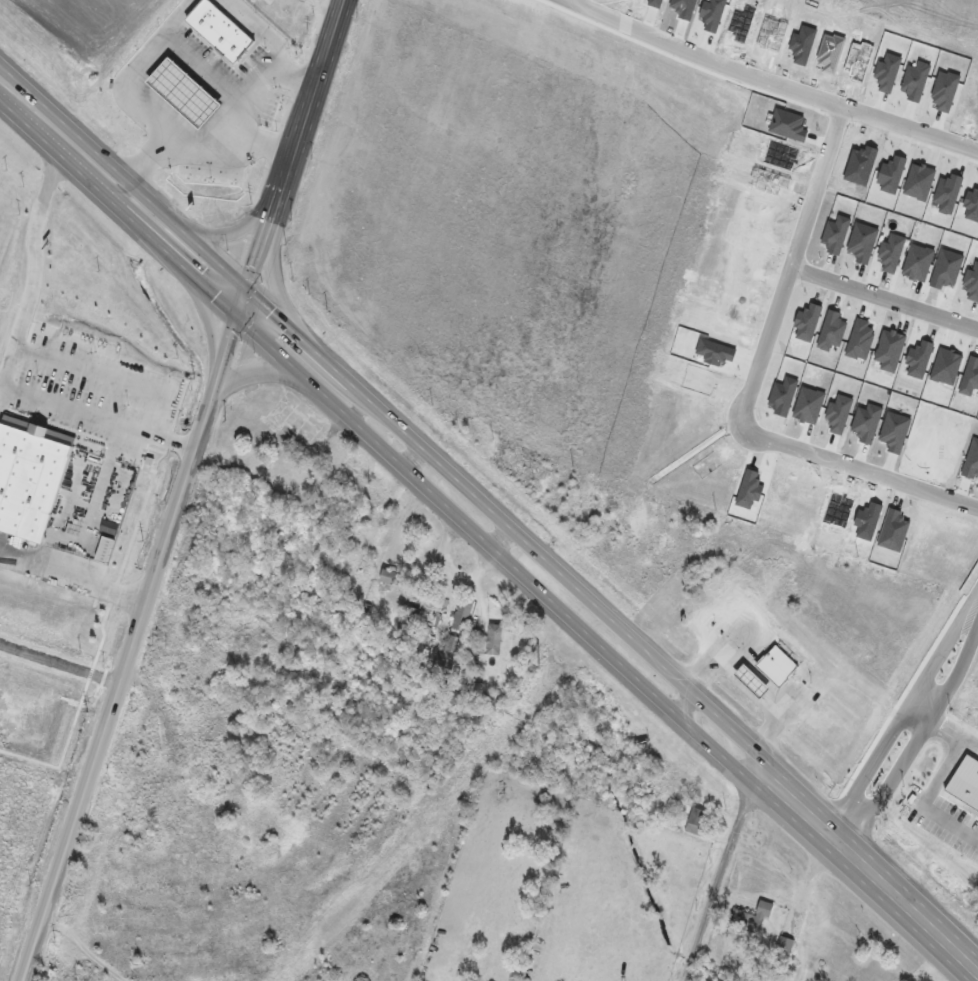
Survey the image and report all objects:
road: (572, 2)
building: (232, 43)
road: (172, 51)
road: (768, 79)
road: (275, 86)
road: (310, 101)
building: (198, 108)
gas station: (198, 108)
building: (174, 111)
road: (217, 155)
road: (275, 212)
road: (231, 231)
road: (261, 255)
road: (789, 264)
road: (33, 274)
road: (276, 280)
traffic signals: (250, 290)
road: (883, 298)
road: (245, 308)
road: (208, 325)
traffic signals: (240, 326)
road: (229, 359)
road: (256, 374)
road: (105, 376)
road: (100, 418)
road: (856, 470)
building: (30, 476)
road: (492, 506)
road: (482, 542)
building: (389, 577)
road: (73, 580)
building: (463, 614)
building: (409, 619)
building: (421, 639)
building: (495, 640)
building: (450, 652)
road: (60, 665)
building: (777, 667)
building: (753, 682)
gas station: (753, 682)
road: (120, 686)
road: (918, 712)
road: (899, 717)
building: (901, 733)
road: (914, 744)
road: (934, 788)
building: (923, 808)
building: (699, 817)
building: (208, 823)
road: (726, 865)
building: (753, 920)
building: (785, 947)
road: (34, 978)

